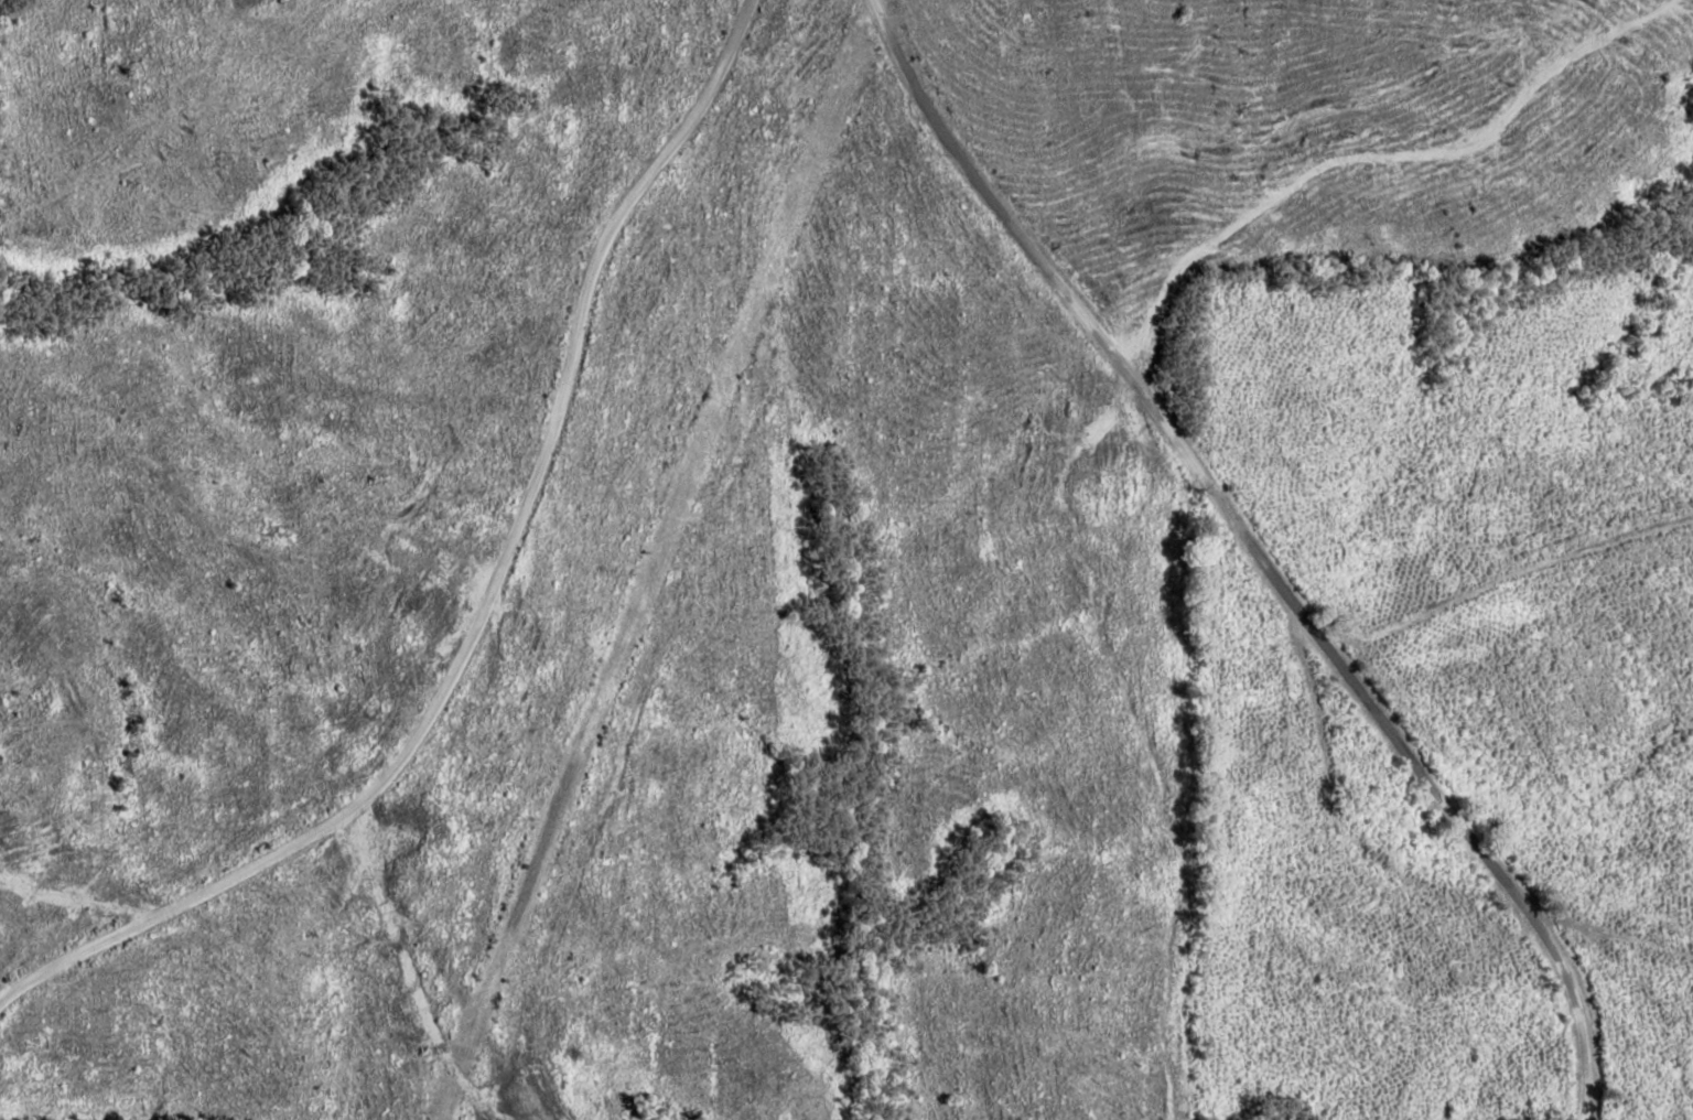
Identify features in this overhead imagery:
road: (1227, 553)
road: (502, 618)

